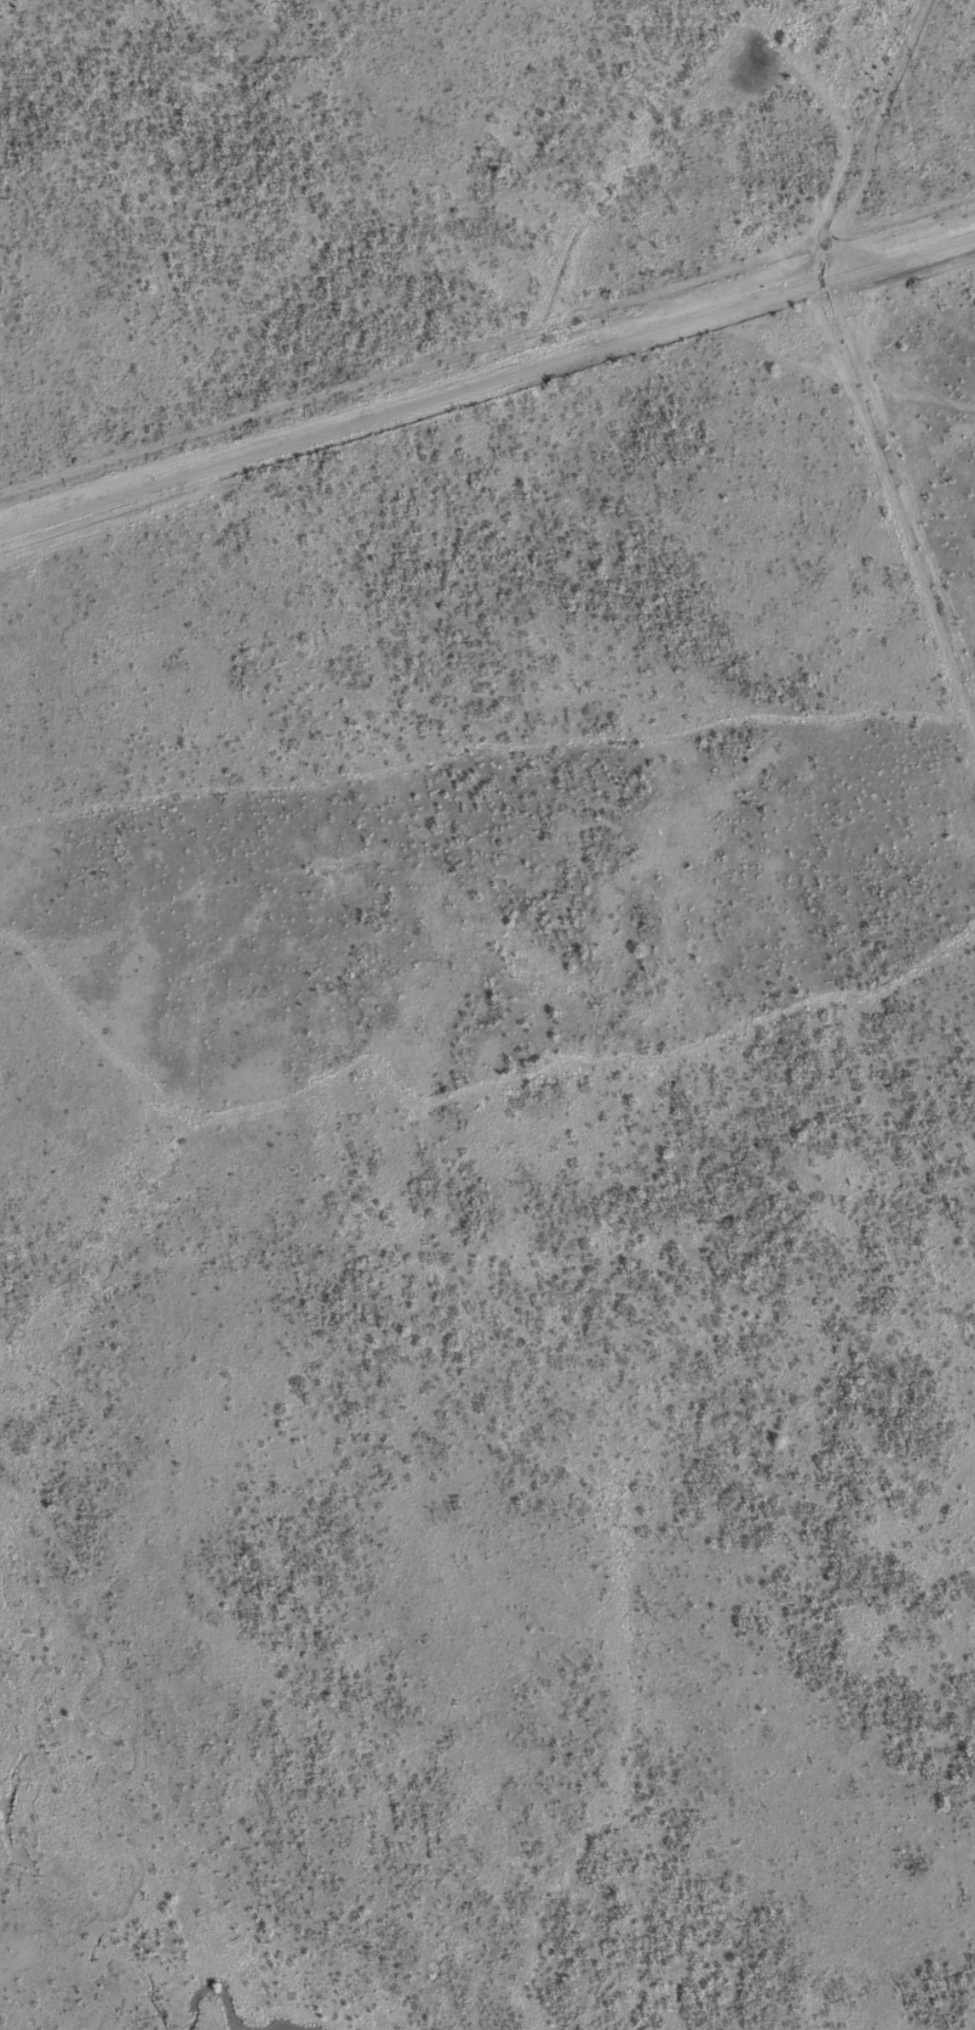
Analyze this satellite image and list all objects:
road: (845, 117)
road: (968, 271)
road: (490, 396)

